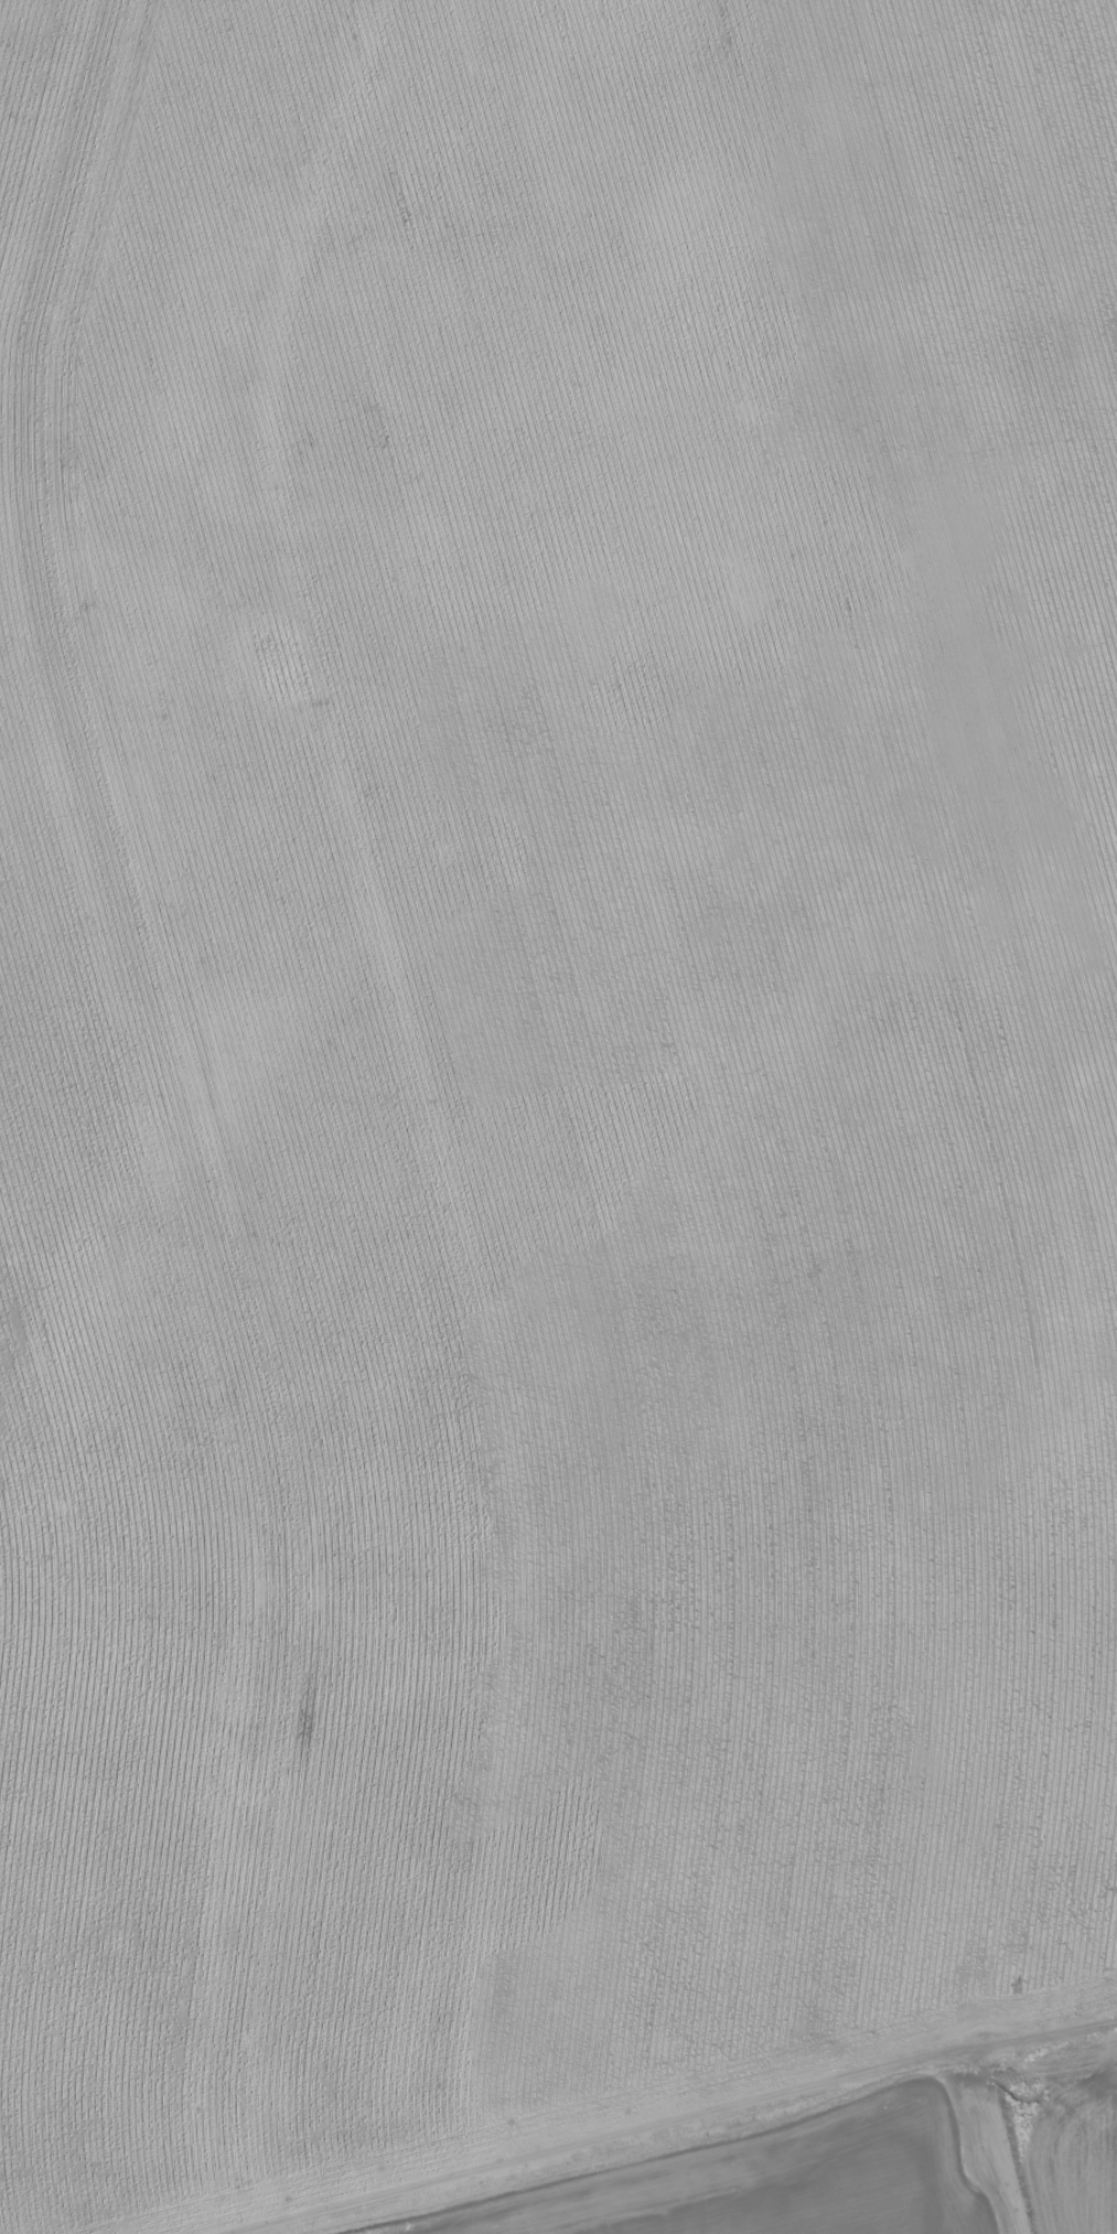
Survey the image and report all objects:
road: (1056, 2043)
road: (1020, 2154)

